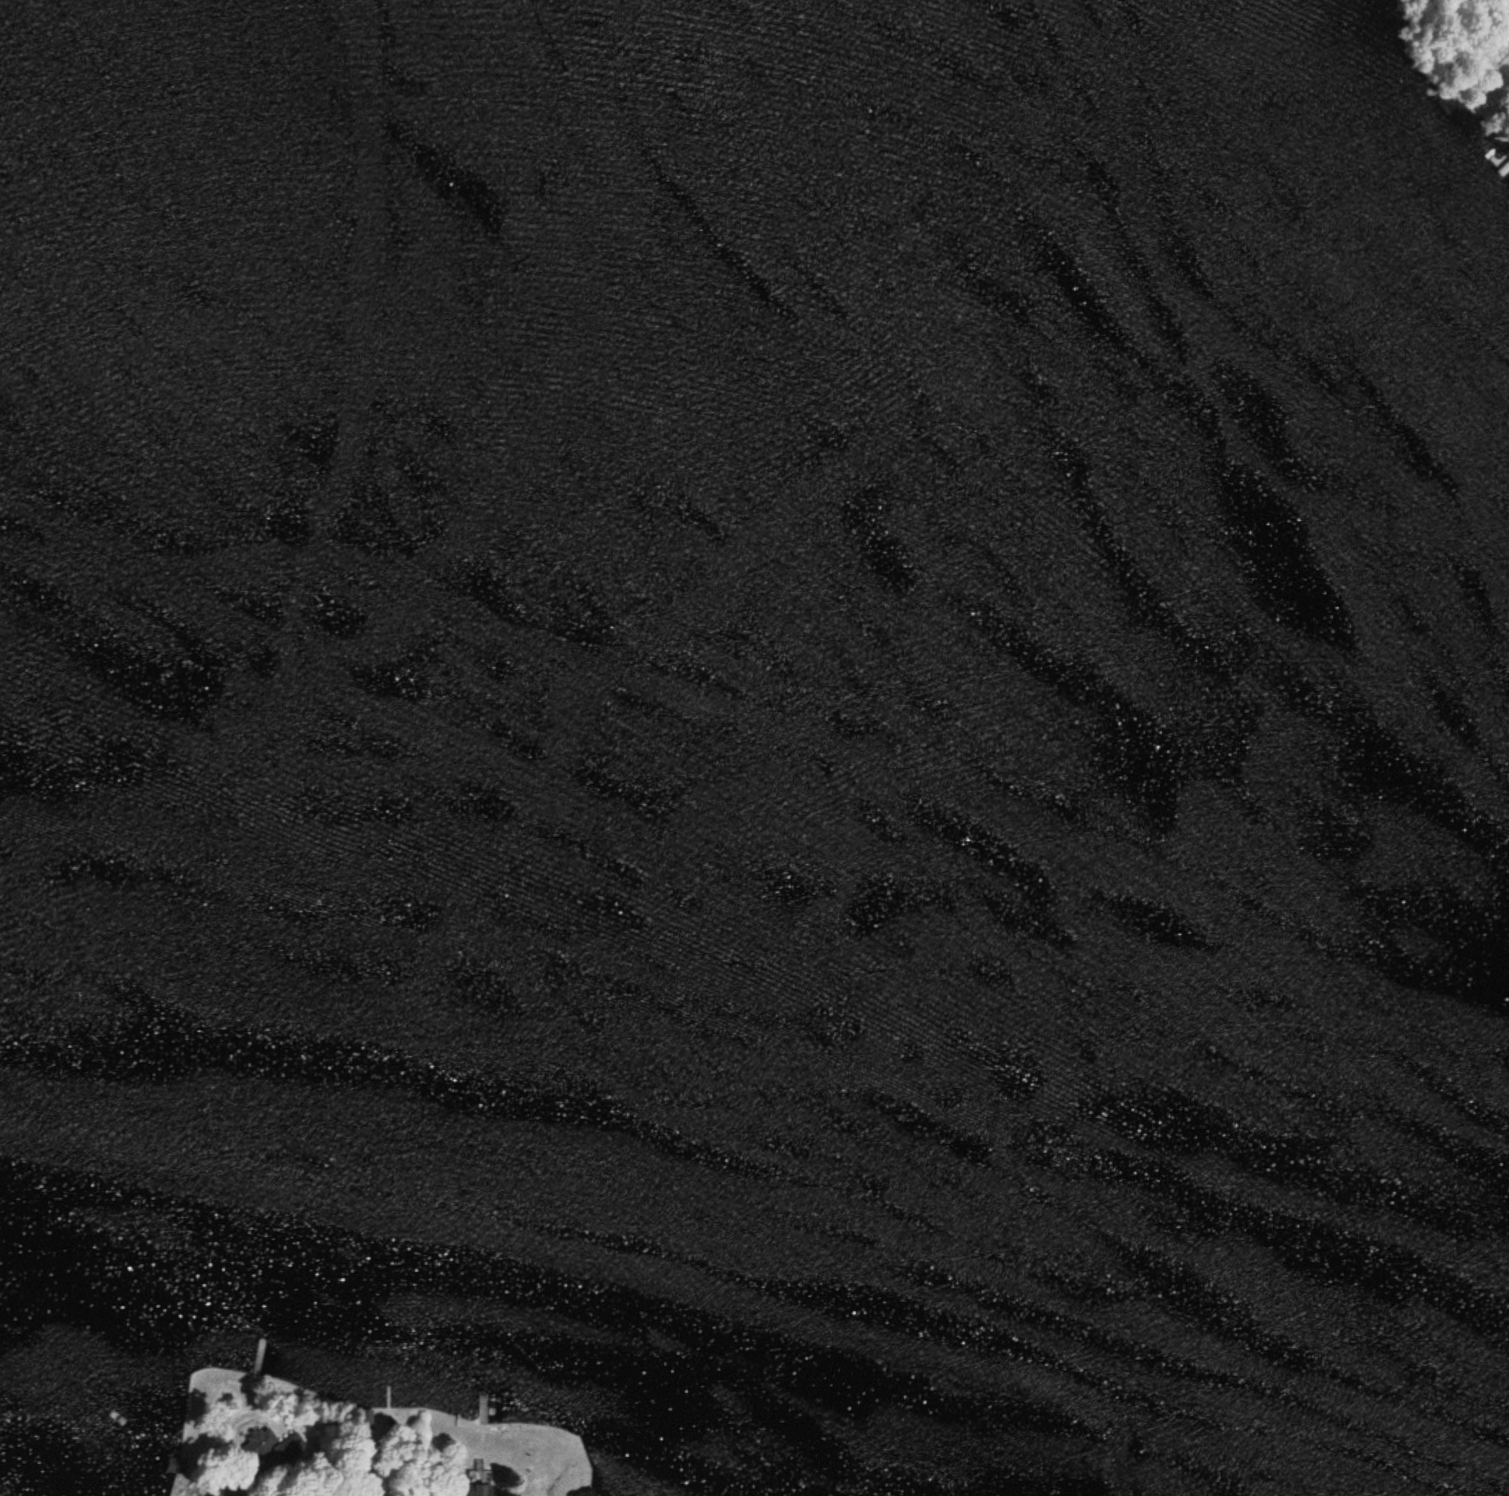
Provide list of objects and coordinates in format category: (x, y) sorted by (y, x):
road: (1476, 30)
river: (808, 511)
building: (268, 1447)
building: (480, 1491)
building: (369, 1495)
building: (592, 1495)

